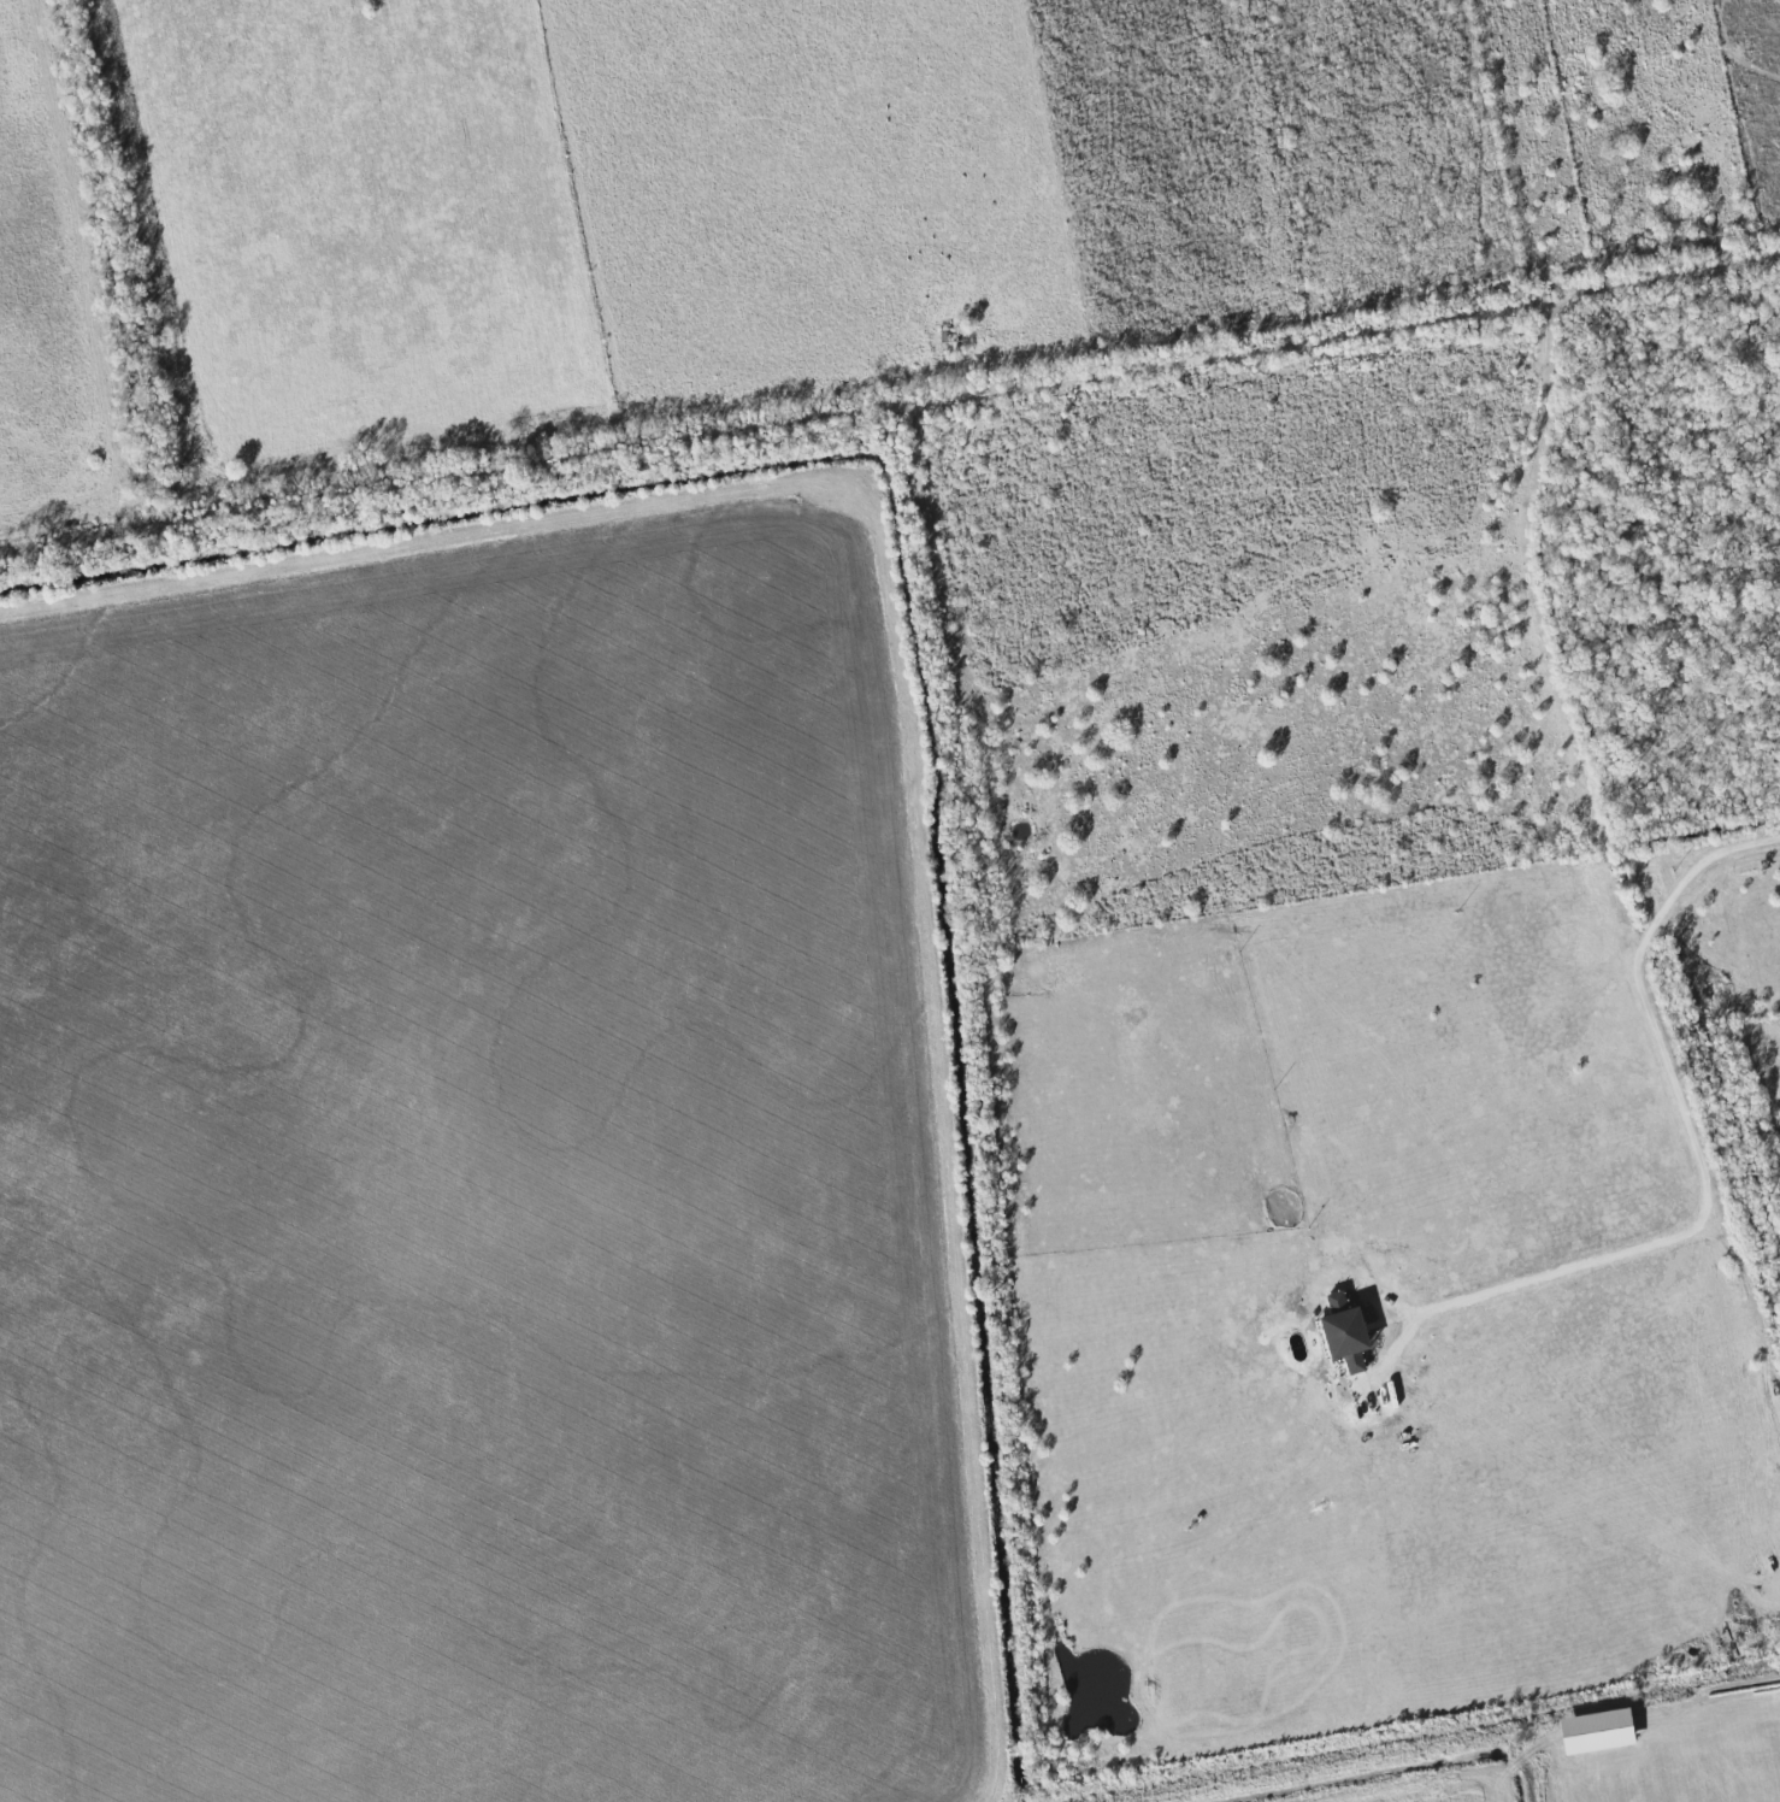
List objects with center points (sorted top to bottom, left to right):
road: (1694, 1149)

